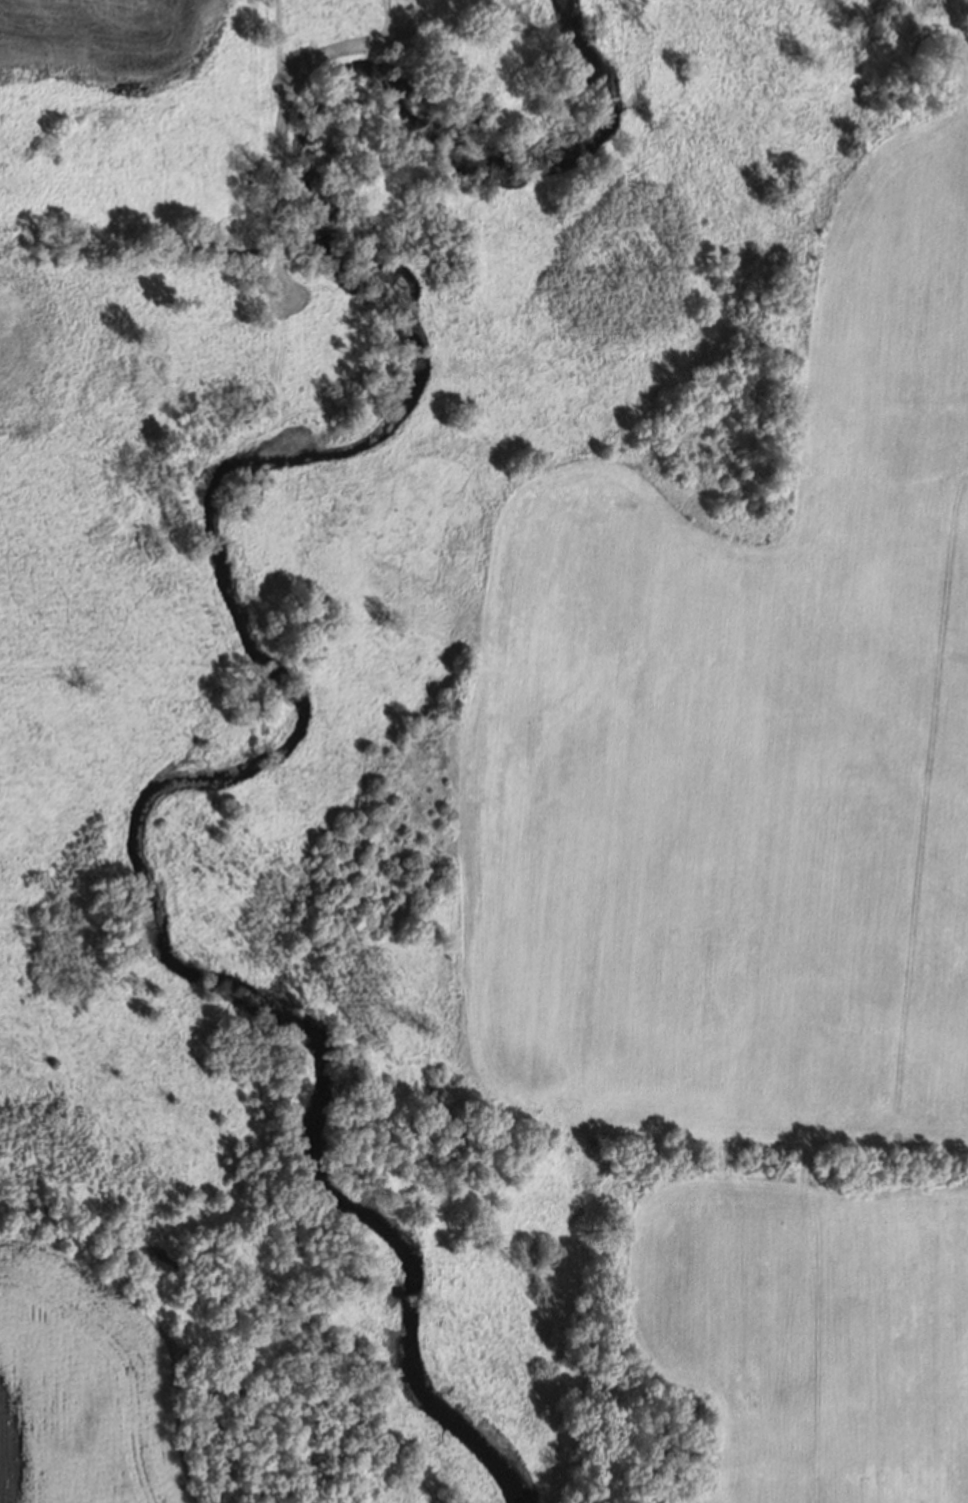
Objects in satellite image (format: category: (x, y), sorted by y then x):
river: (244, 624)

